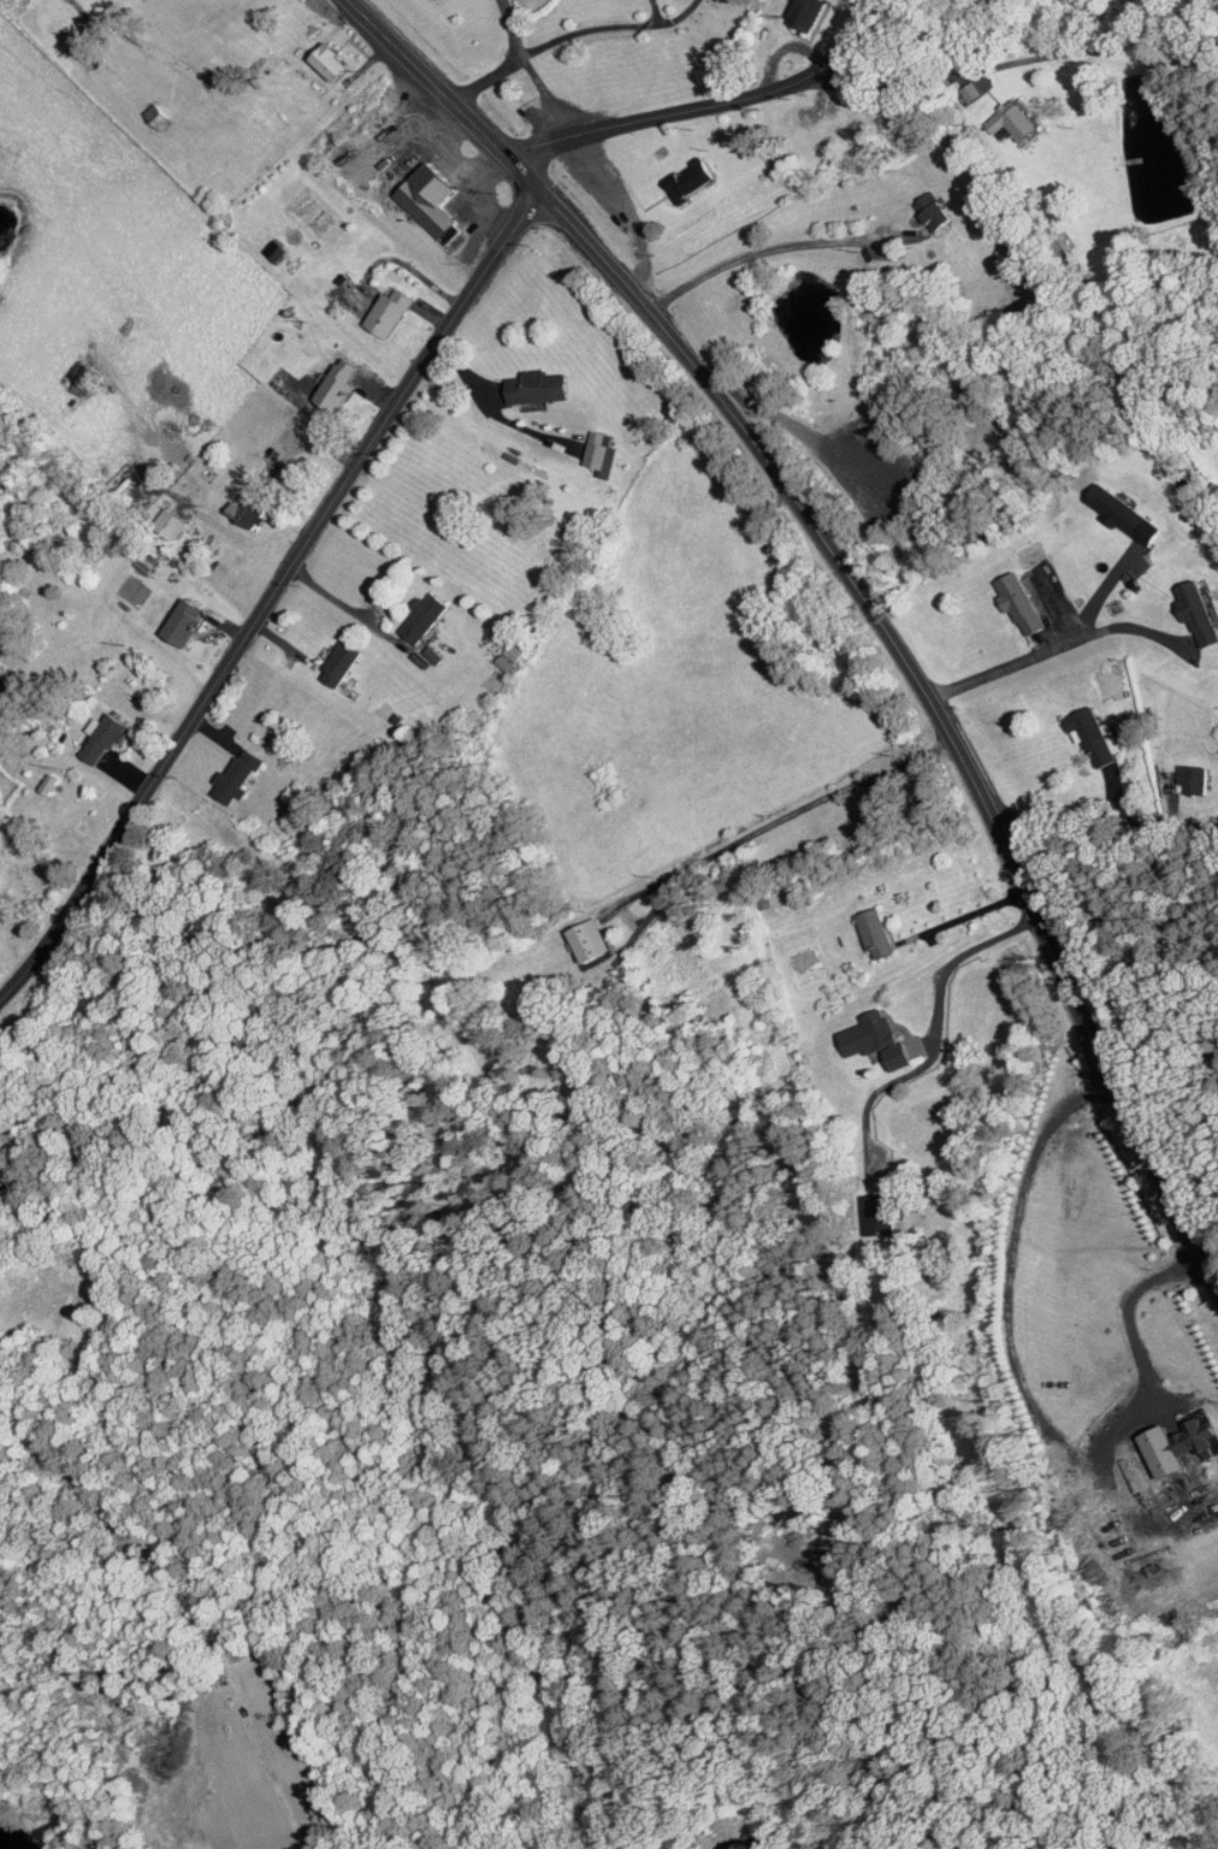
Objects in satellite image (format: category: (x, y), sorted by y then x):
road: (1012, 65)
road: (711, 106)
road: (765, 249)
road: (155, 504)
road: (861, 592)
road: (271, 596)
road: (1059, 646)
road: (1104, 819)
road: (779, 821)
road: (935, 1032)
road: (194, 1605)

